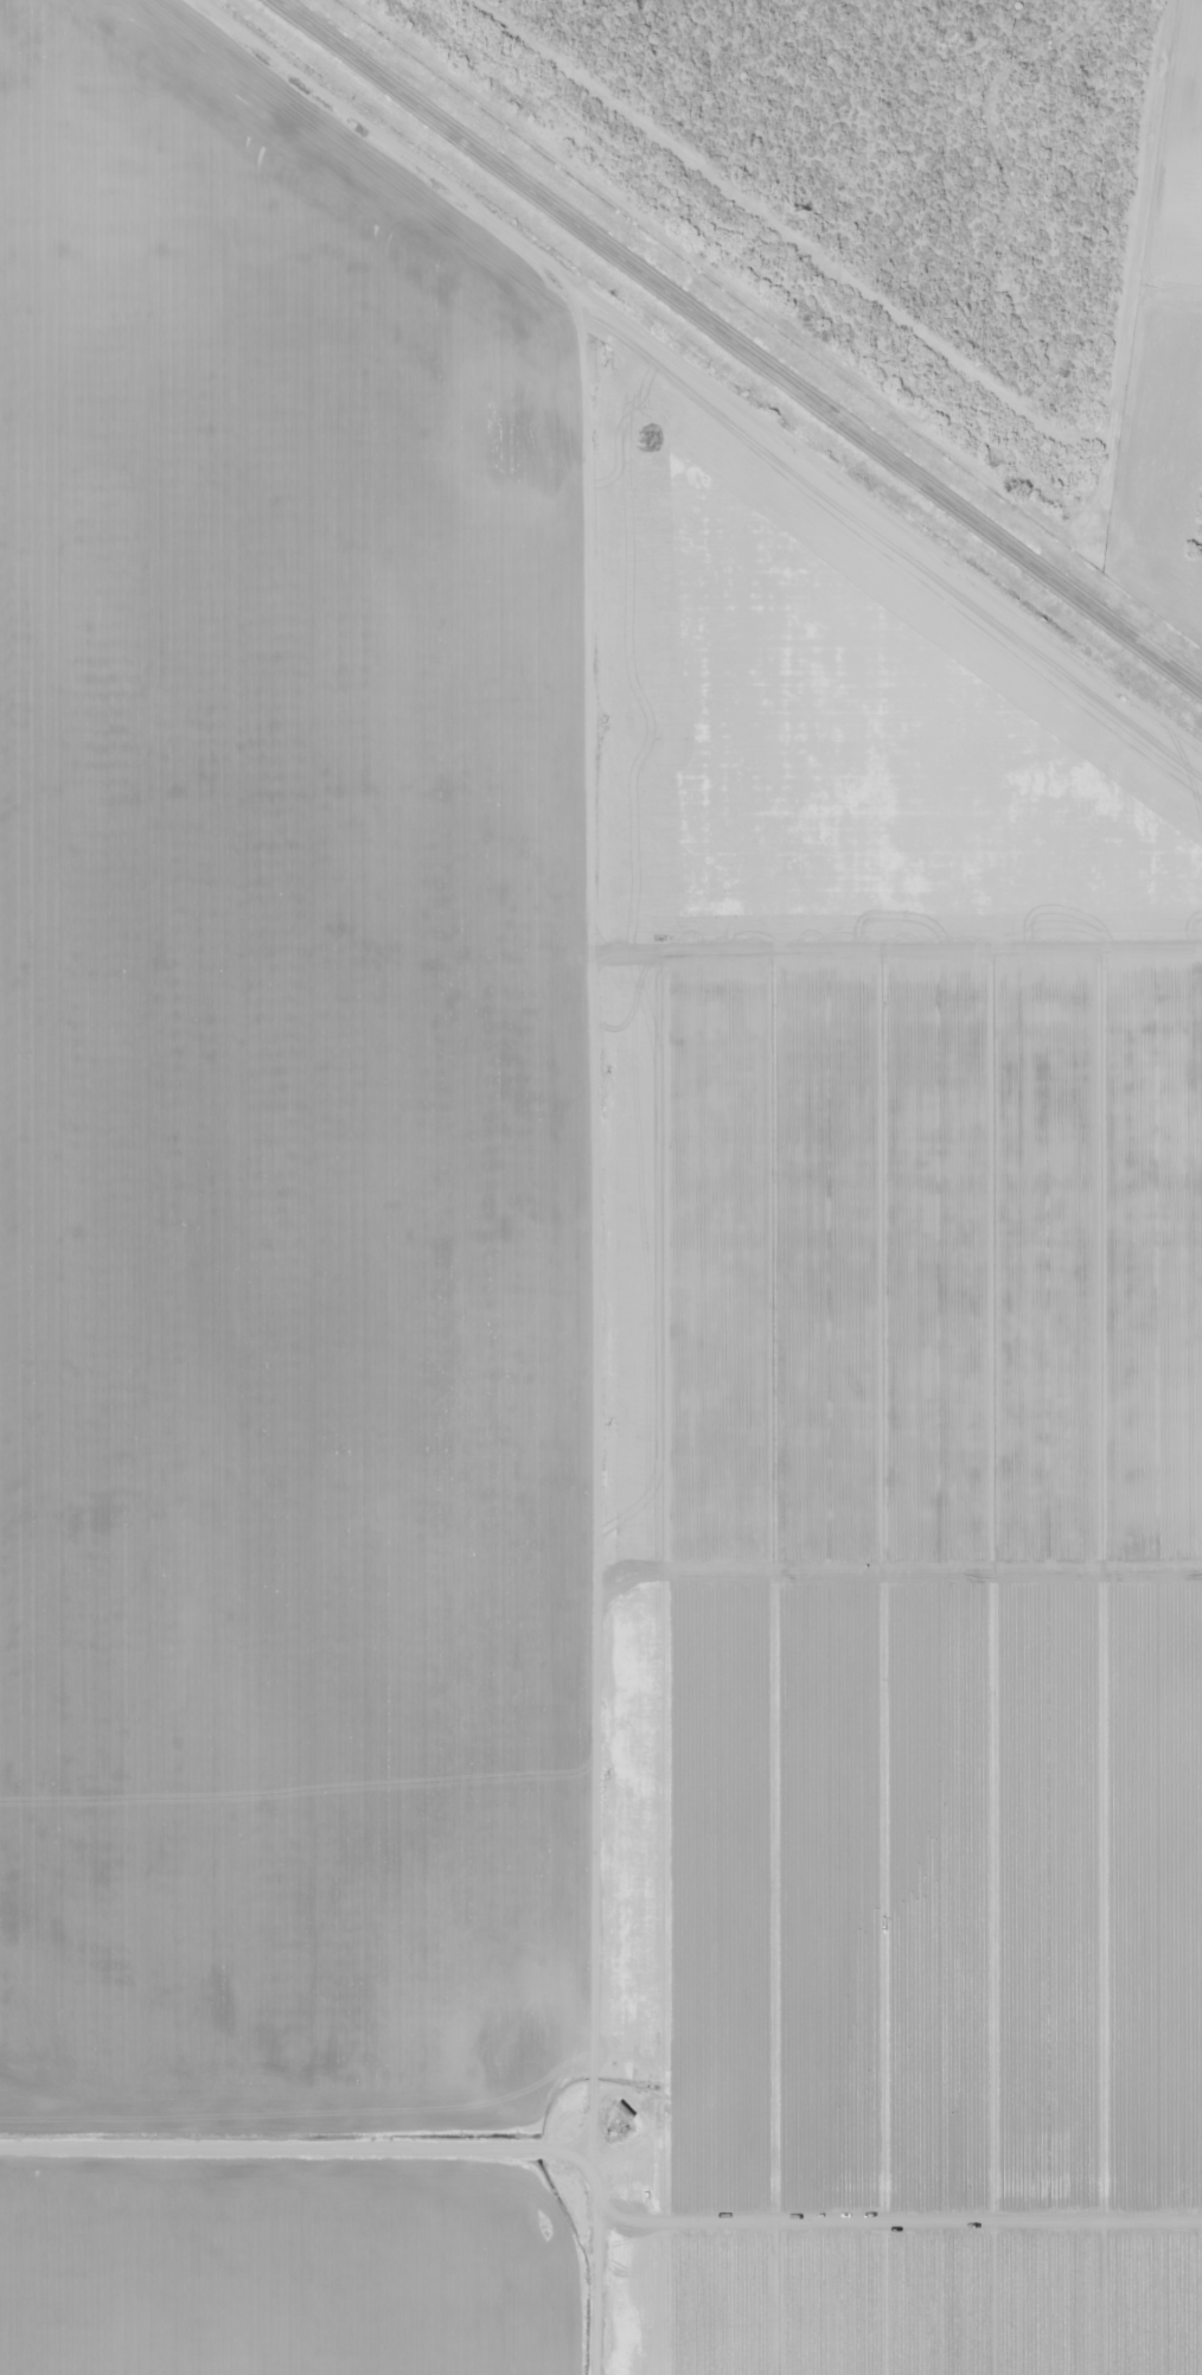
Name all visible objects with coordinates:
road: (746, 340)

